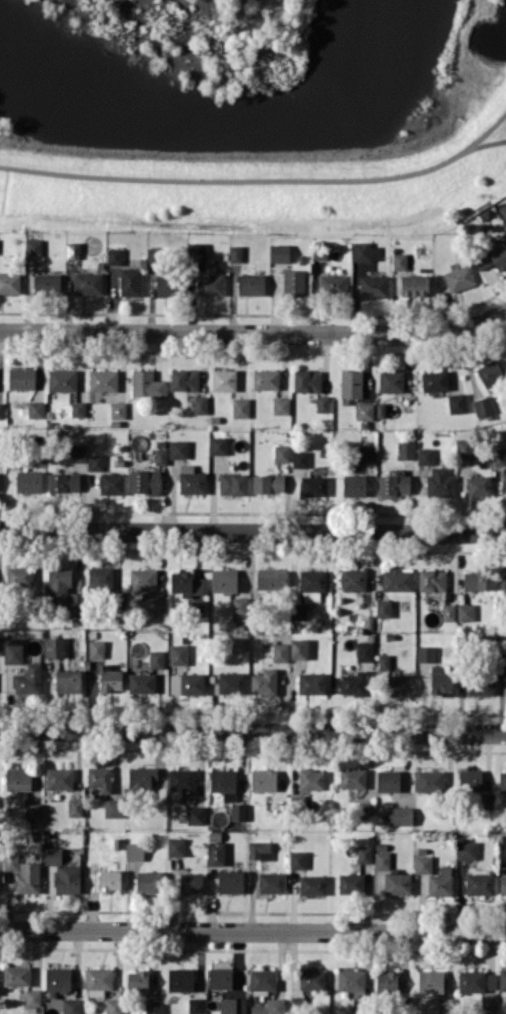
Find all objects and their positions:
road: (487, 143)
road: (262, 178)
building: (503, 211)
building: (33, 247)
building: (73, 250)
building: (197, 250)
building: (361, 251)
building: (279, 252)
building: (235, 253)
building: (153, 255)
building: (498, 255)
building: (114, 256)
building: (399, 260)
building: (482, 261)
building: (459, 277)
building: (130, 281)
building: (10, 282)
building: (294, 282)
building: (47, 283)
building: (87, 283)
building: (333, 283)
building: (167, 284)
building: (210, 284)
building: (251, 284)
building: (414, 285)
building: (374, 286)
road: (255, 332)
building: (505, 339)
building: (490, 372)
building: (21, 378)
building: (224, 379)
building: (265, 379)
building: (62, 380)
building: (103, 380)
building: (184, 380)
building: (307, 380)
building: (390, 380)
building: (435, 380)
building: (351, 383)
building: (147, 384)
building: (322, 403)
building: (457, 403)
building: (200, 404)
building: (281, 405)
building: (483, 405)
building: (240, 407)
building: (36, 409)
building: (78, 409)
building: (1, 410)
building: (117, 410)
building: (364, 411)
building: (218, 445)
building: (464, 448)
building: (178, 449)
building: (406, 449)
building: (77, 452)
building: (281, 452)
building: (366, 454)
building: (160, 456)
building: (425, 456)
building: (499, 457)
building: (300, 458)
building: (95, 461)
building: (504, 477)
building: (191, 480)
building: (29, 481)
building: (145, 481)
building: (63, 482)
building: (394, 482)
building: (439, 482)
building: (111, 483)
building: (233, 483)
building: (268, 483)
building: (314, 485)
building: (354, 485)
building: (479, 486)
road: (253, 530)
building: (19, 577)
building: (504, 577)
building: (100, 578)
building: (271, 578)
building: (142, 579)
building: (353, 579)
building: (224, 580)
building: (397, 580)
building: (432, 580)
building: (479, 580)
building: (59, 583)
building: (186, 584)
building: (312, 584)
building: (75, 603)
building: (159, 604)
building: (196, 606)
building: (239, 608)
building: (383, 608)
building: (298, 611)
building: (448, 612)
building: (465, 612)
building: (0, 645)
building: (54, 647)
building: (96, 648)
building: (299, 648)
building: (13, 650)
building: (364, 651)
building: (280, 652)
building: (425, 653)
building: (178, 654)
building: (156, 658)
building: (384, 661)
building: (502, 661)
building: (110, 678)
building: (441, 679)
building: (28, 680)
building: (68, 680)
building: (141, 682)
building: (264, 682)
building: (187, 683)
building: (231, 683)
building: (311, 683)
building: (353, 683)
building: (480, 684)
building: (400, 685)
road: (253, 730)
building: (141, 777)
building: (18, 778)
building: (59, 778)
building: (99, 778)
building: (352, 778)
building: (182, 779)
building: (311, 779)
building: (263, 780)
building: (388, 780)
building: (430, 780)
building: (470, 780)
building: (502, 781)
building: (224, 782)
building: (74, 807)
building: (113, 807)
building: (363, 810)
building: (238, 811)
building: (33, 812)
building: (196, 814)
building: (399, 815)
building: (176, 846)
building: (259, 850)
building: (466, 850)
building: (134, 851)
building: (216, 853)
building: (364, 854)
building: (53, 856)
building: (297, 859)
building: (382, 860)
building: (10, 861)
building: (423, 864)
building: (28, 877)
building: (67, 879)
building: (110, 880)
building: (148, 881)
building: (230, 881)
building: (271, 882)
building: (397, 882)
building: (440, 882)
building: (191, 883)
building: (350, 883)
building: (479, 883)
building: (312, 884)
building: (502, 884)
road: (253, 930)
building: (16, 975)
building: (57, 978)
building: (220, 978)
building: (180, 979)
building: (262, 979)
building: (312, 979)
building: (351, 979)
building: (502, 979)
building: (137, 980)
building: (477, 980)
building: (98, 981)
building: (430, 981)
building: (387, 982)
building: (33, 997)
building: (486, 1004)
building: (73, 1005)
building: (114, 1005)
building: (195, 1005)
building: (232, 1005)
building: (275, 1005)
building: (445, 1005)
building: (153, 1006)

